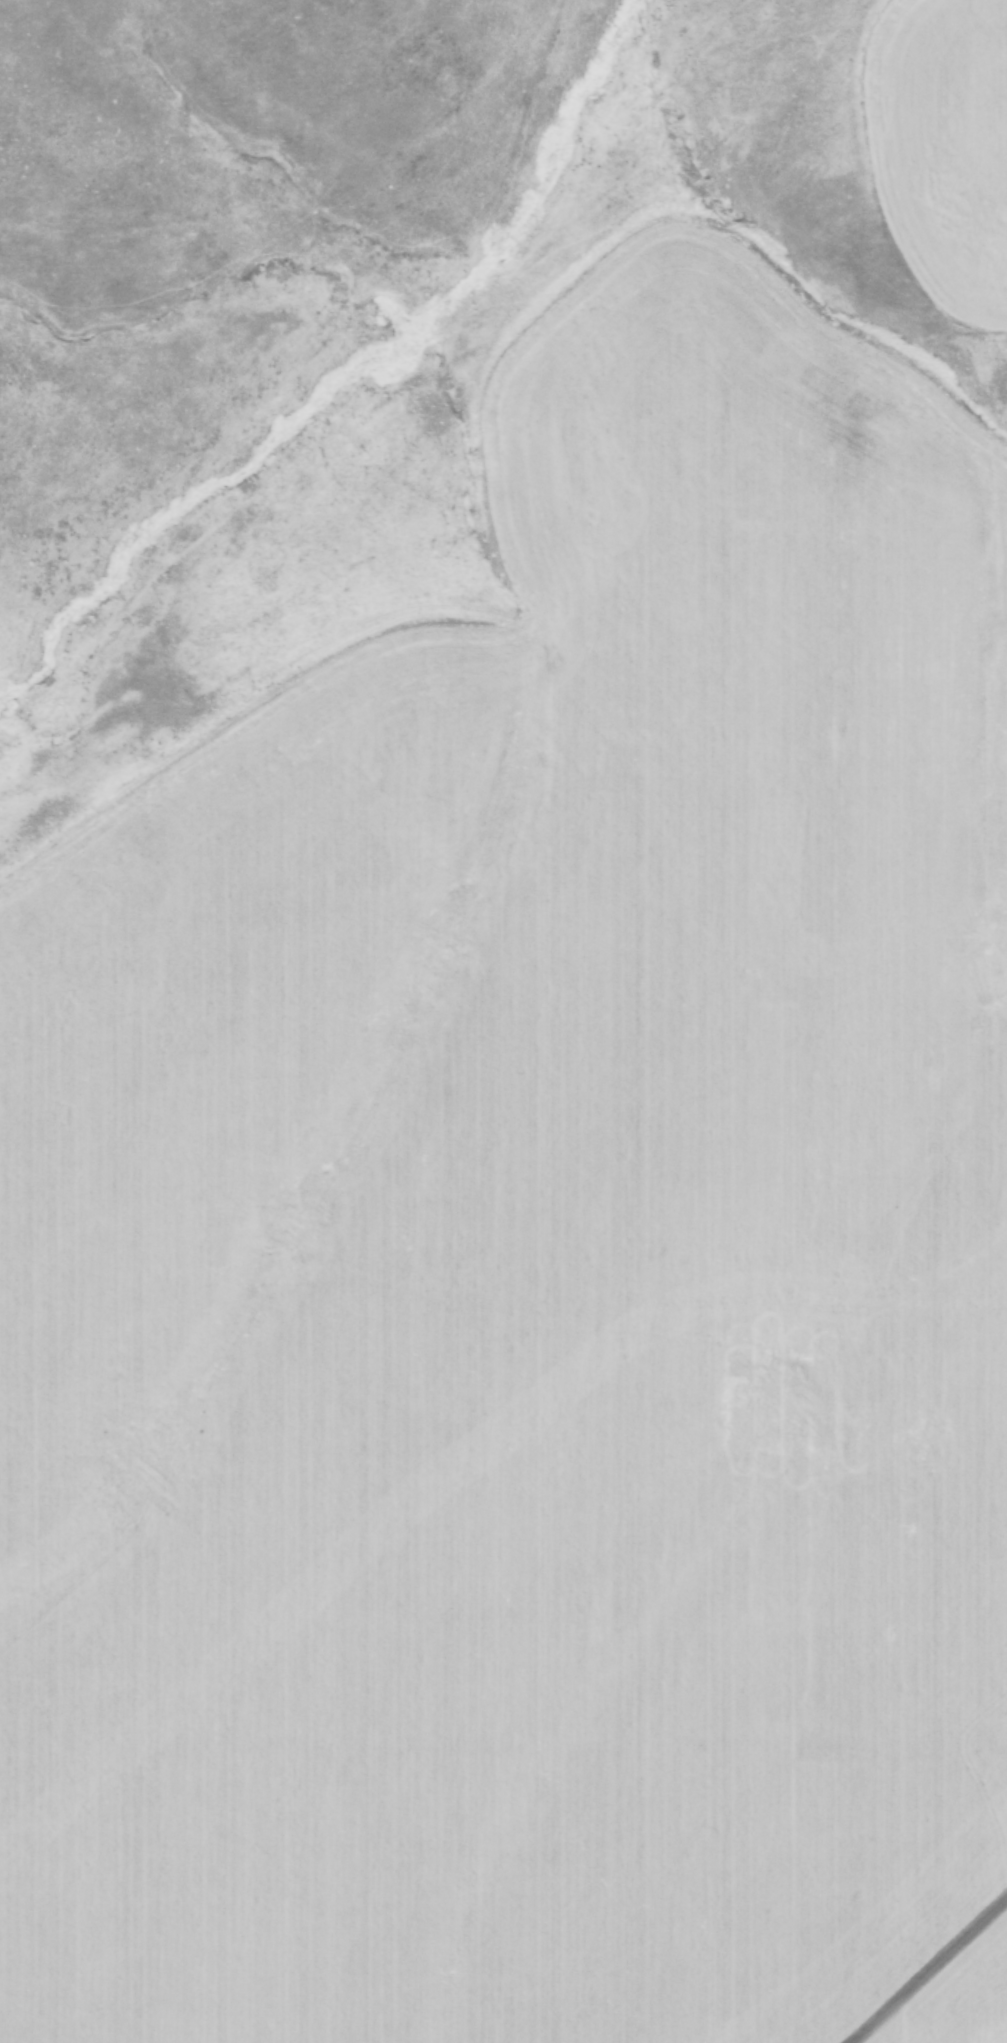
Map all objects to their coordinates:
road: (919, 1961)

